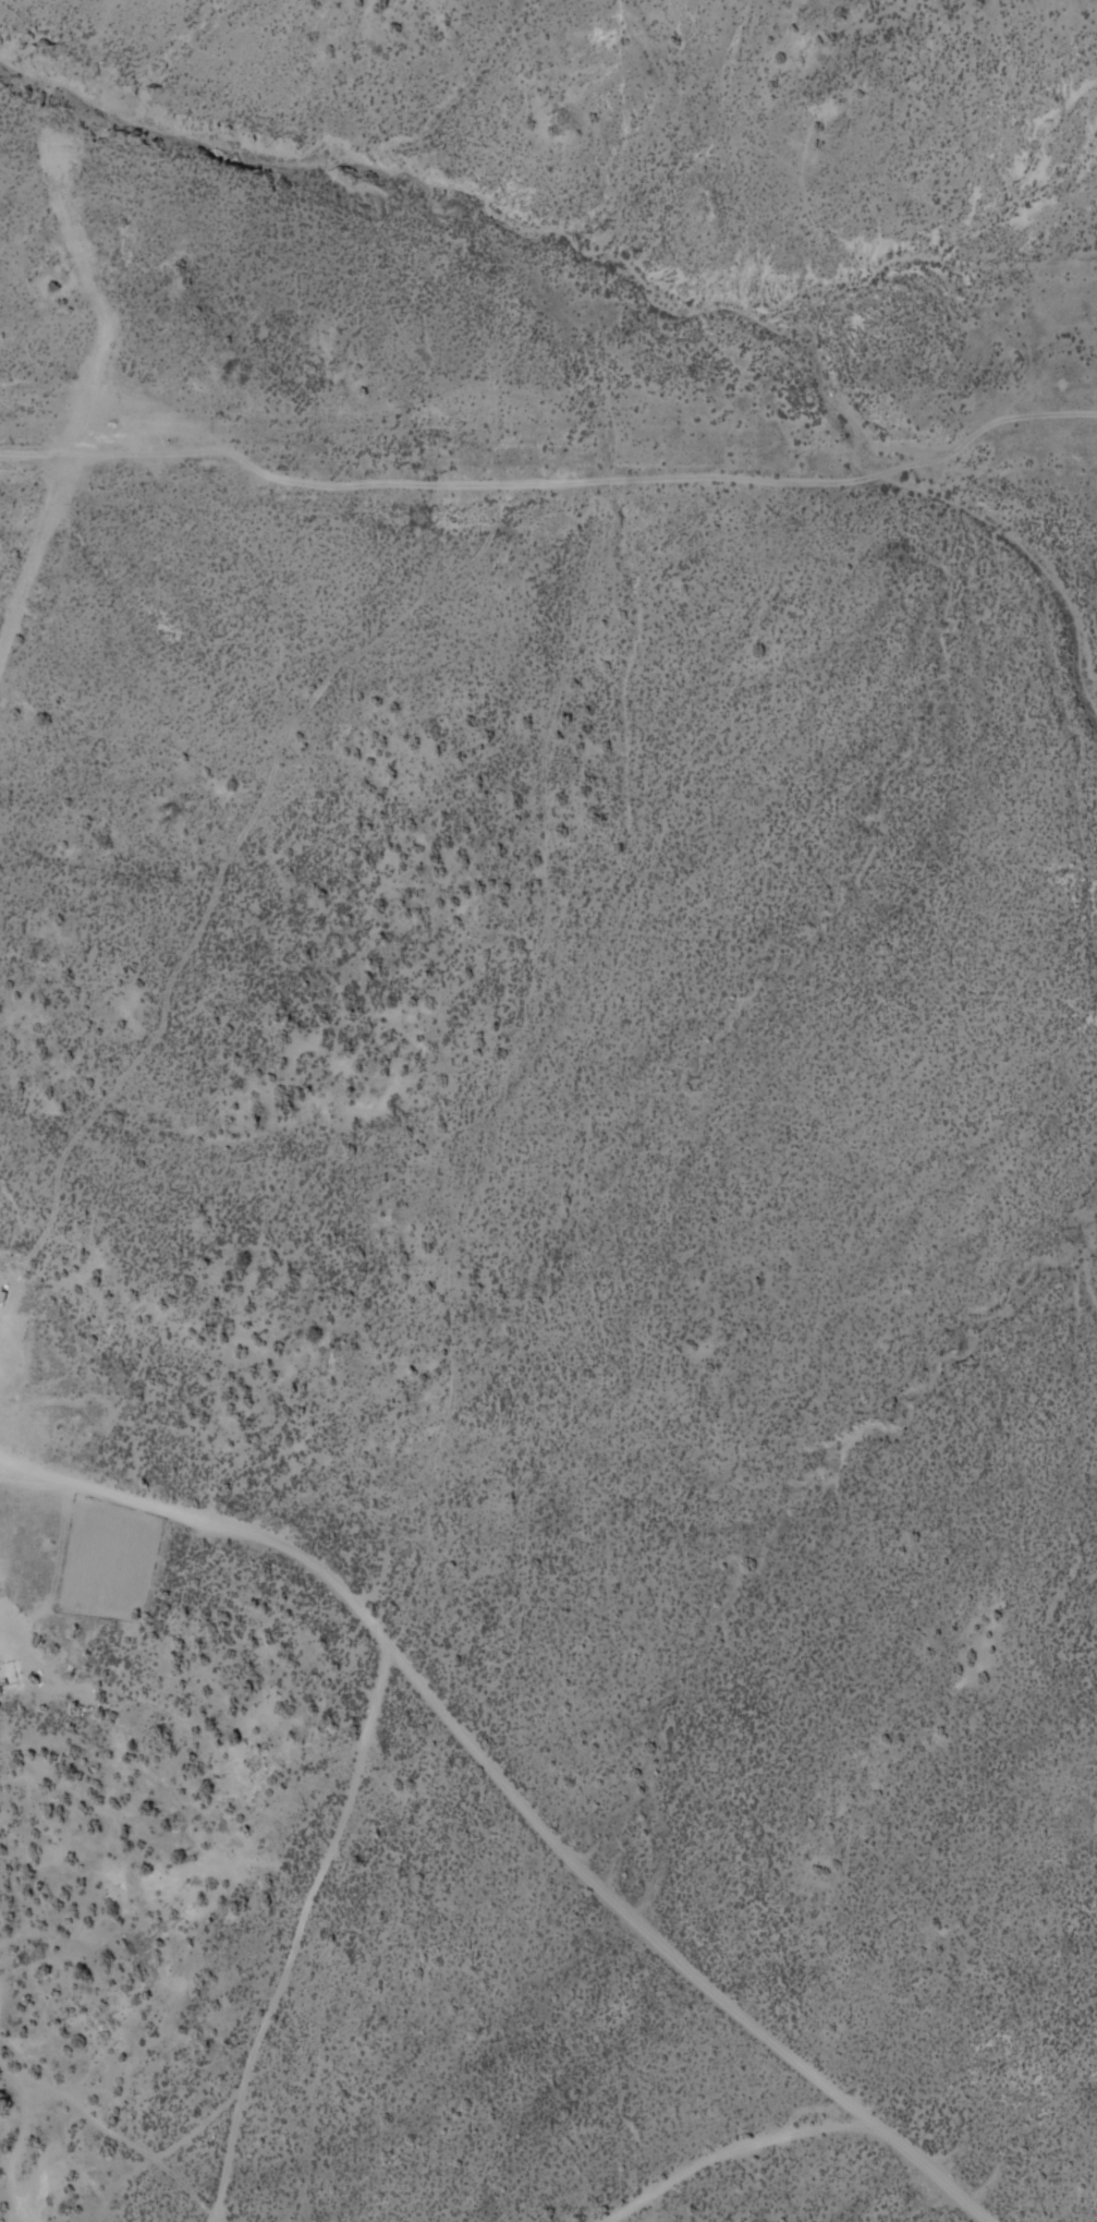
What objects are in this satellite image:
road: (512, 1797)

